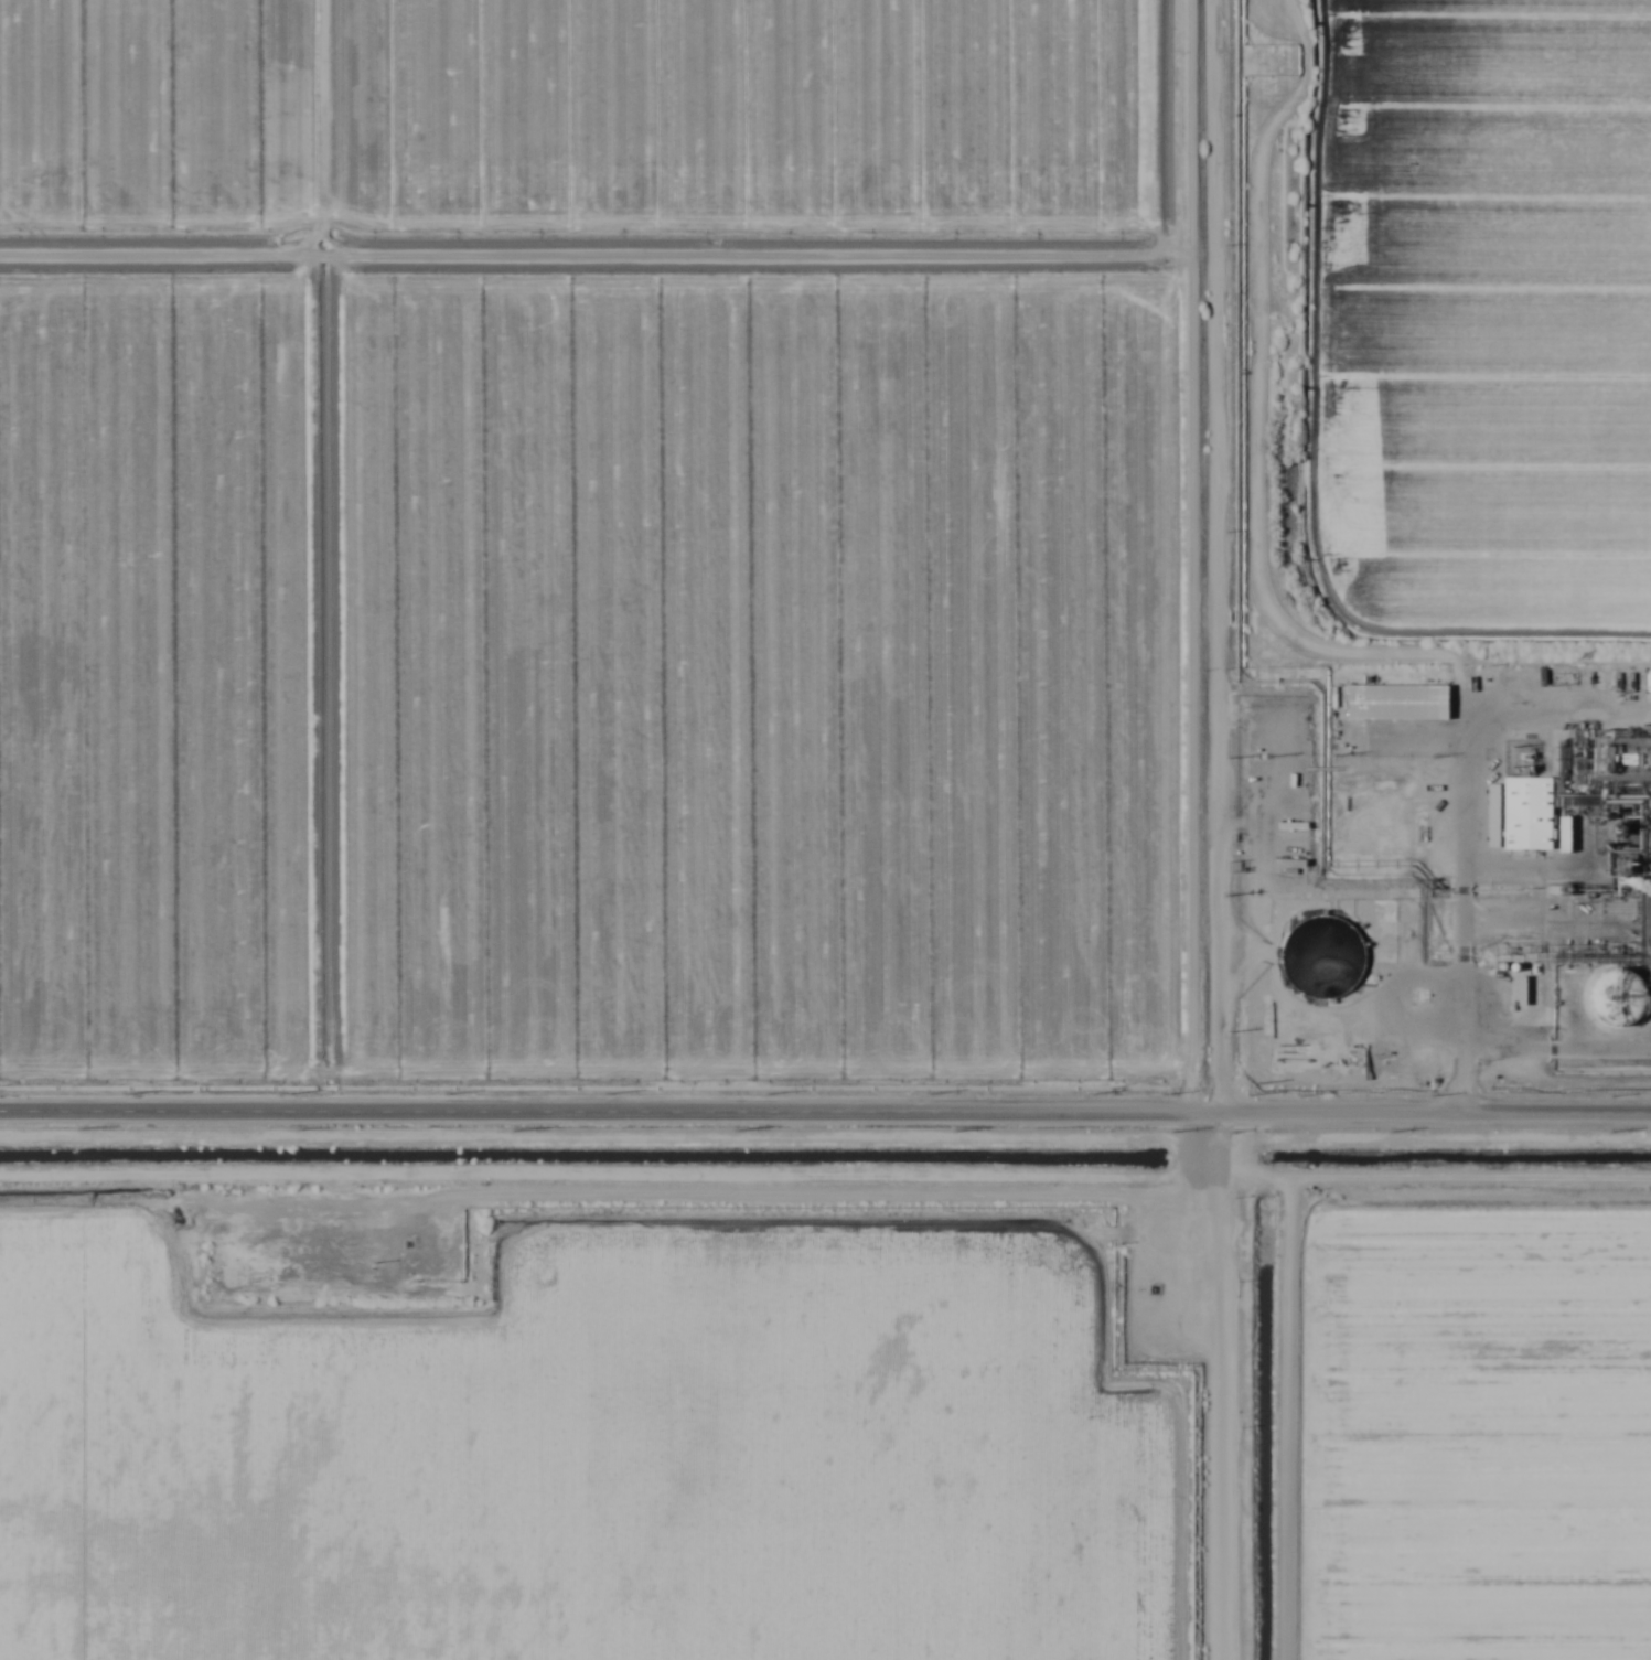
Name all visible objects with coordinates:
road: (1213, 555)
building: (1401, 700)
road: (1466, 800)
building: (1530, 812)
building: (1529, 997)
road: (1555, 1045)
road: (1458, 1078)
road: (825, 1110)
road: (1218, 1385)

